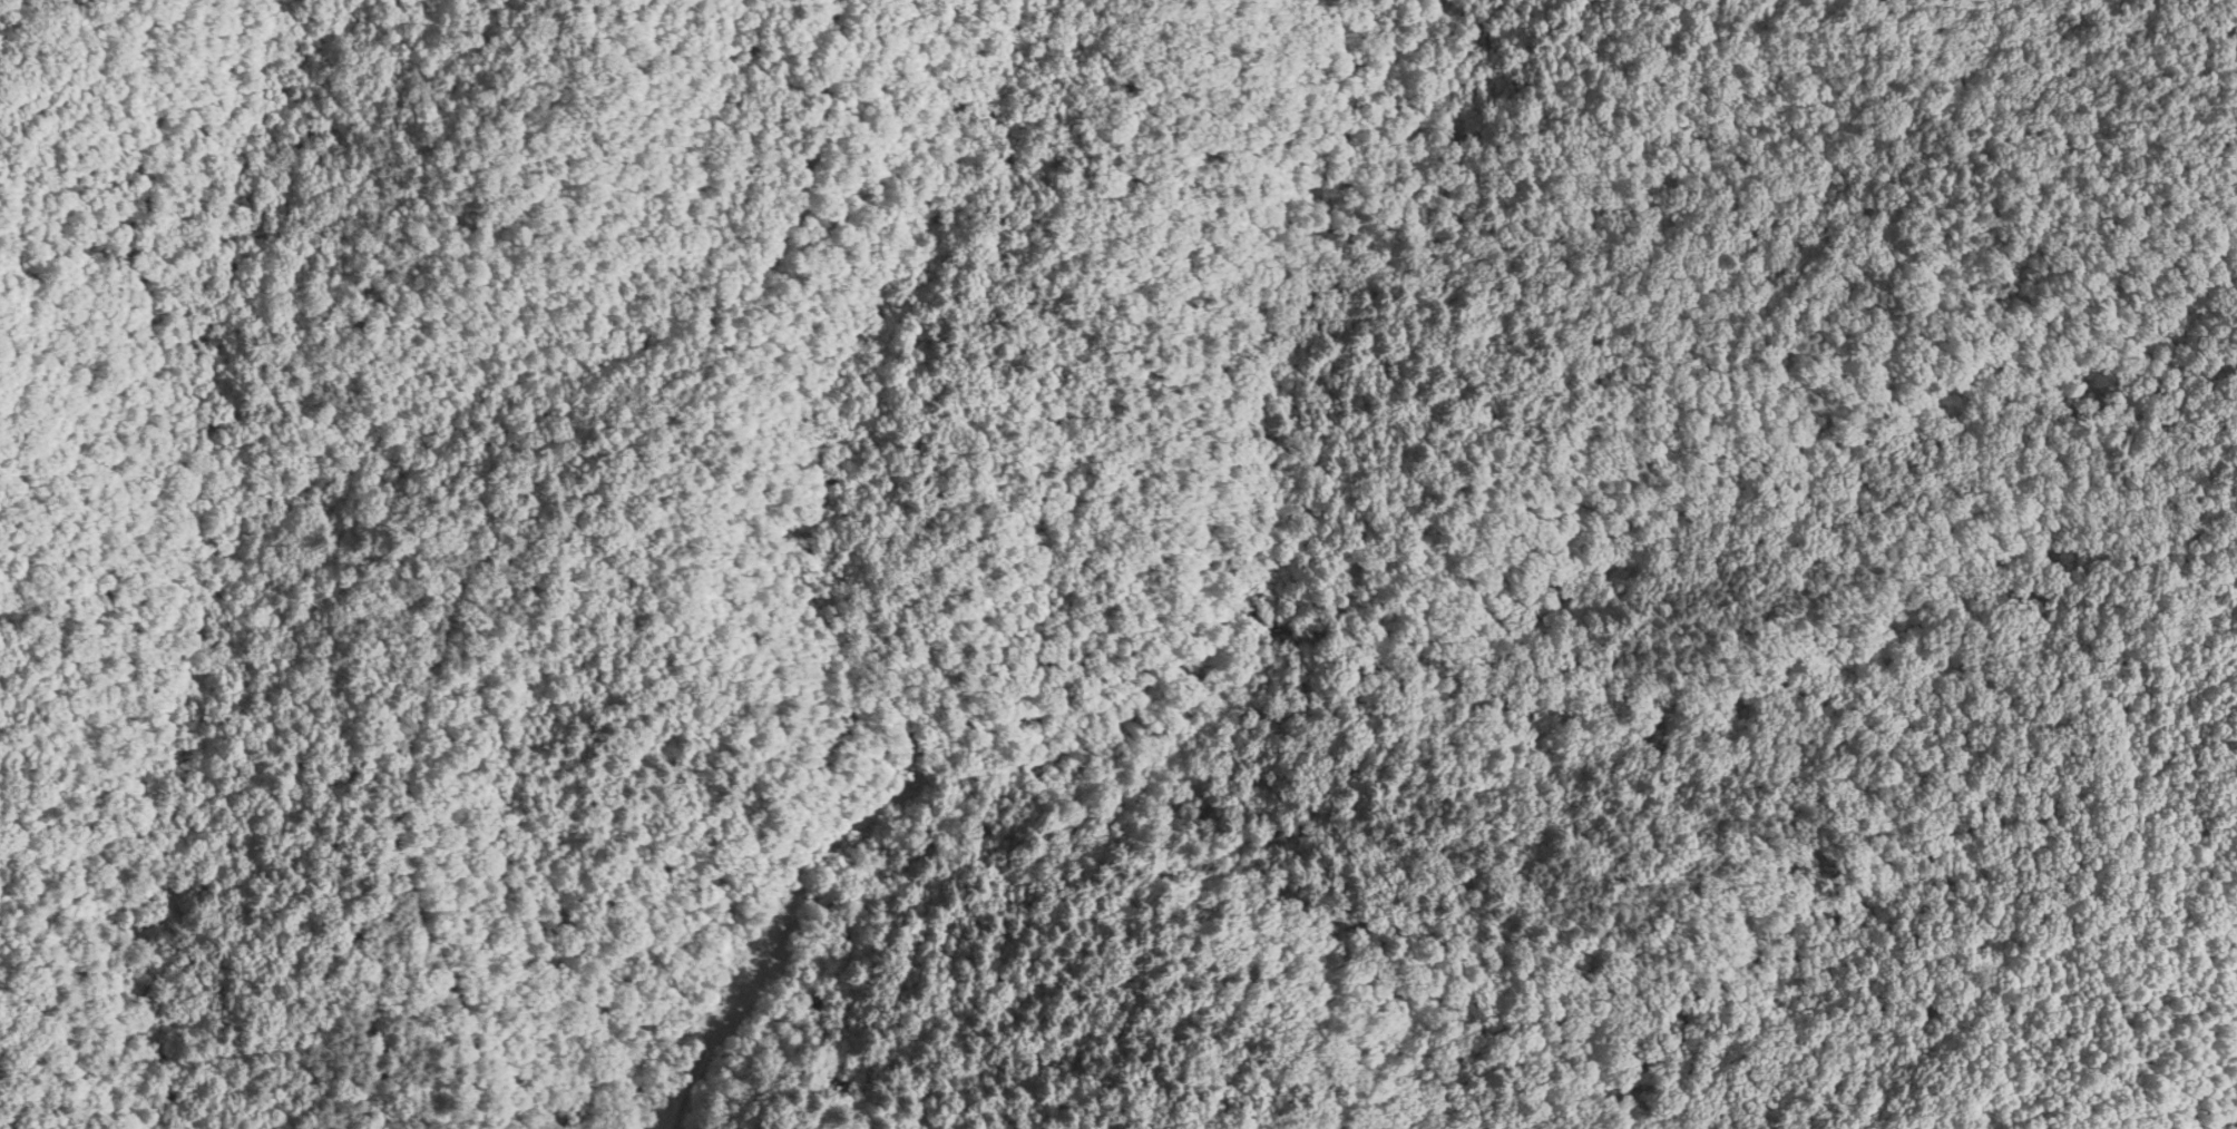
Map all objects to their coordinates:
park: (2198, 1054)

